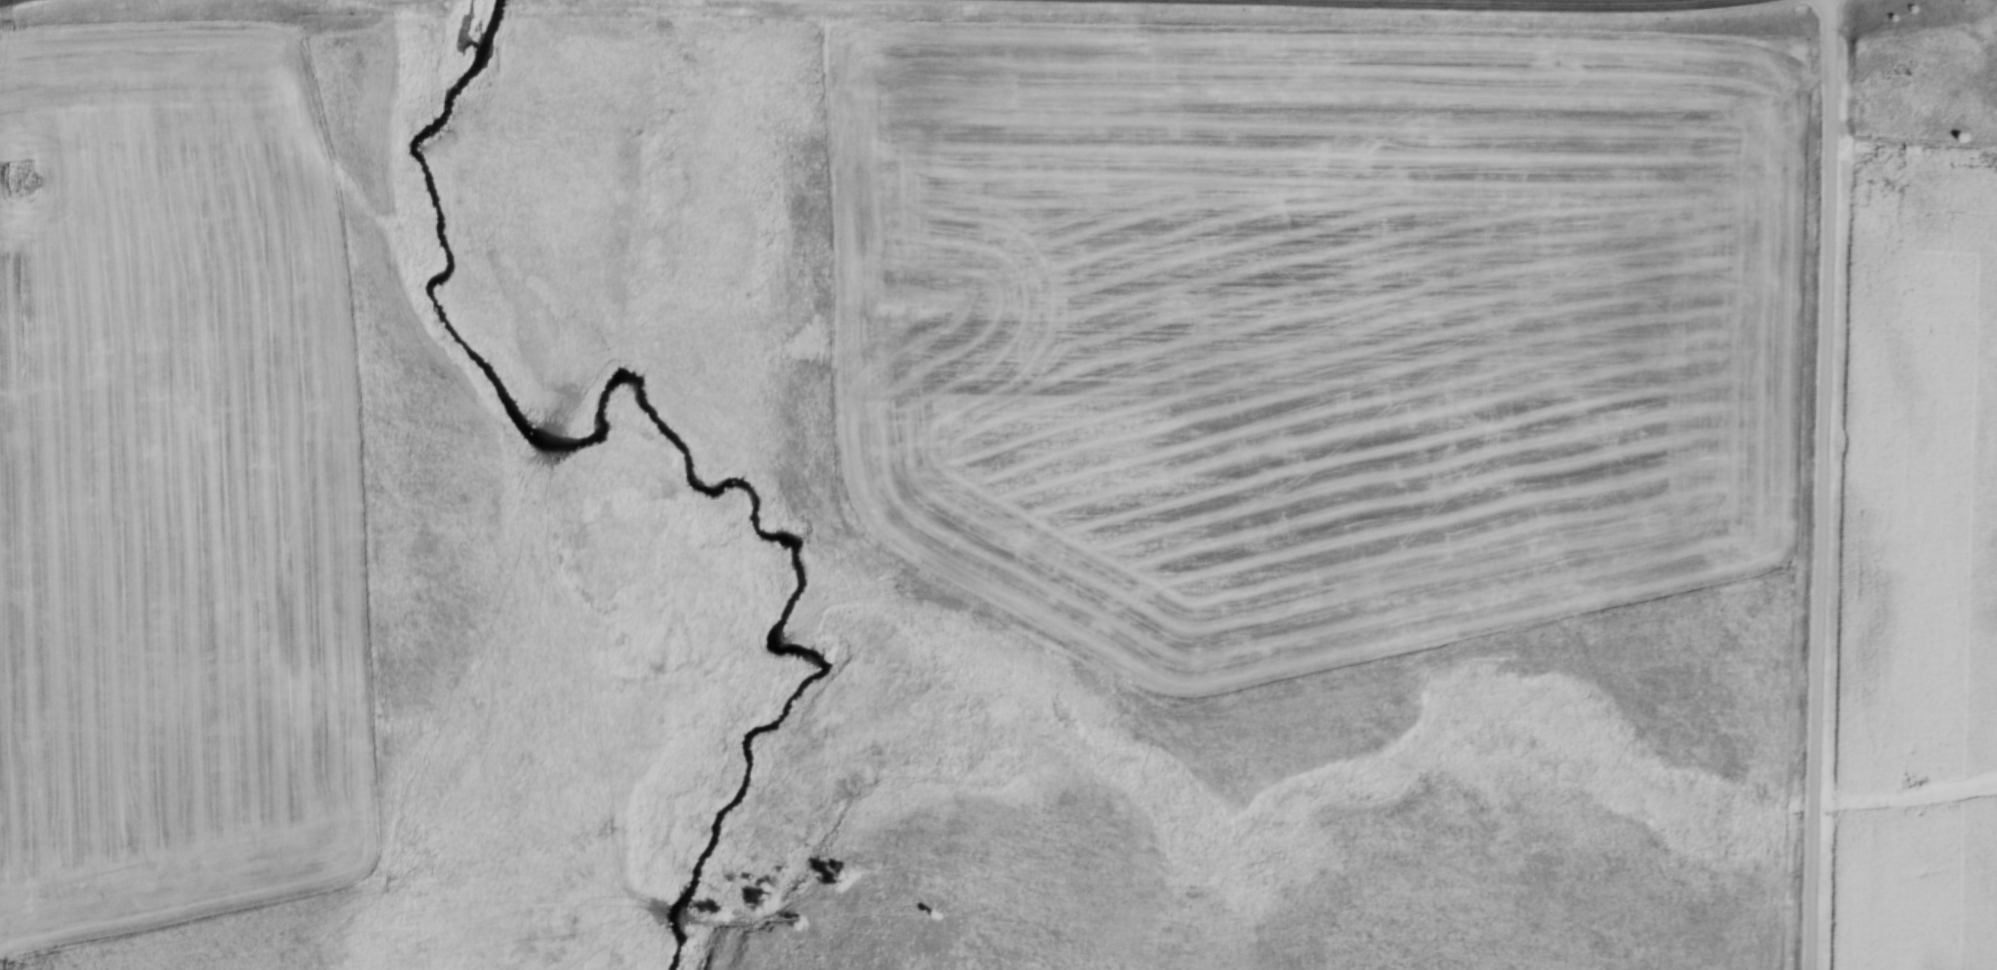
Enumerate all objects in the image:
road: (27, 6)
road: (1343, 6)
power tower: (23, 184)
road: (1819, 485)

